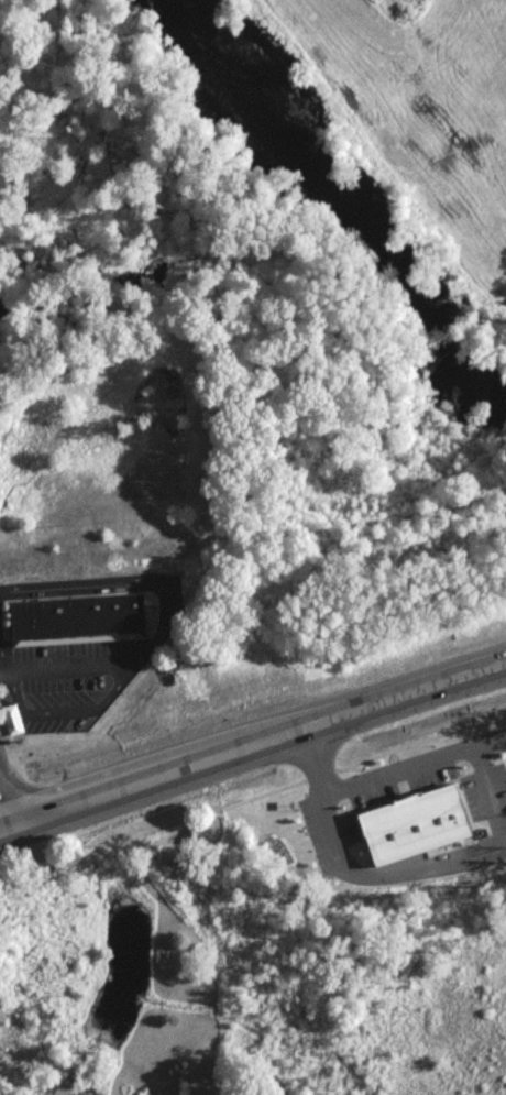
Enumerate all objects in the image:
river: (345, 204)
road: (129, 577)
building: (73, 618)
road: (59, 661)
road: (1, 663)
road: (65, 708)
road: (252, 753)
road: (362, 755)
road: (413, 759)
road: (312, 763)
road: (488, 789)
road: (4, 815)
building: (413, 822)
traffic signals: (10, 833)
road: (386, 875)

